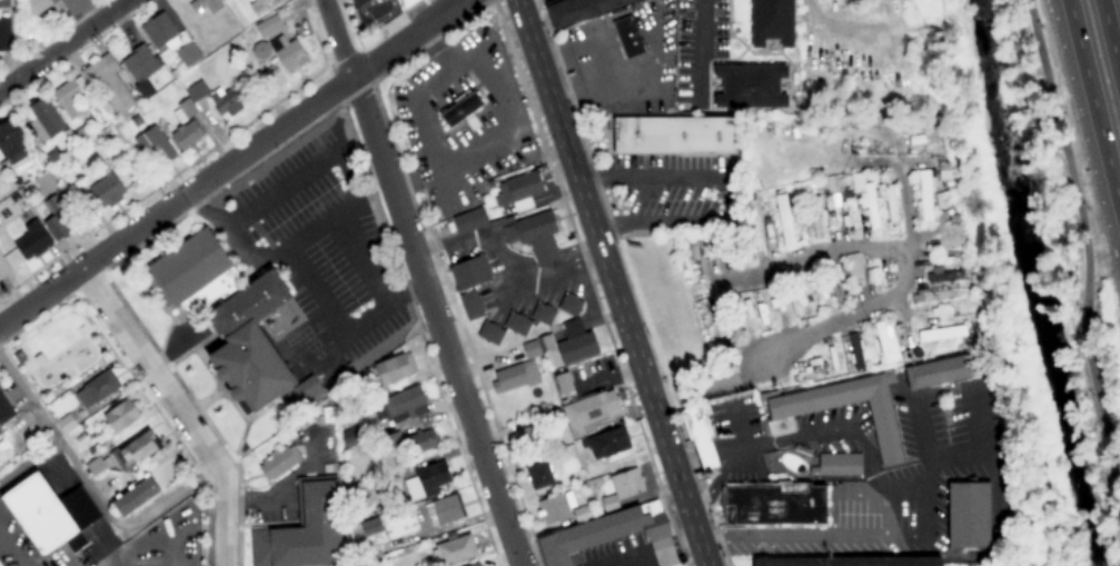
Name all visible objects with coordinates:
building: (3, 3)
building: (405, 3)
building: (205, 4)
building: (79, 6)
building: (258, 6)
building: (578, 10)
building: (34, 17)
building: (772, 21)
building: (268, 24)
street lamp: (1039, 26)
building: (161, 30)
building: (4, 33)
building: (627, 37)
road: (59, 41)
road: (1110, 41)
building: (188, 53)
building: (290, 53)
building: (142, 69)
building: (175, 72)
building: (108, 85)
building: (750, 86)
building: (196, 90)
building: (70, 96)
building: (226, 101)
road: (1093, 105)
building: (142, 109)
building: (185, 110)
building: (462, 111)
building: (44, 119)
building: (137, 120)
building: (186, 135)
building: (674, 135)
building: (11, 141)
building: (156, 146)
road: (230, 162)
street lamp: (340, 177)
building: (106, 188)
building: (518, 190)
building: (864, 196)
building: (925, 196)
building: (14, 198)
street lamp: (1084, 208)
building: (54, 218)
building: (850, 218)
building: (469, 219)
building: (500, 220)
building: (783, 220)
building: (535, 236)
building: (32, 240)
building: (948, 241)
road: (1086, 258)
building: (3, 267)
building: (853, 268)
building: (469, 272)
building: (194, 275)
building: (943, 277)
river: (1024, 281)
road: (417, 282)
road: (611, 282)
building: (248, 304)
building: (569, 304)
building: (470, 305)
street lamp: (359, 309)
street lamp: (1078, 309)
building: (516, 319)
building: (490, 332)
building: (941, 334)
building: (889, 340)
road: (78, 341)
building: (575, 342)
building: (537, 346)
park: (59, 347)
building: (19, 357)
building: (39, 359)
building: (250, 367)
building: (394, 369)
building: (943, 370)
building: (515, 376)
building: (563, 383)
building: (97, 387)
building: (306, 388)
street lamp: (1090, 396)
building: (402, 404)
road: (177, 408)
building: (4, 409)
building: (589, 411)
building: (329, 414)
building: (348, 415)
building: (120, 416)
building: (782, 418)
building: (66, 424)
building: (533, 430)
building: (0, 434)
building: (698, 435)
building: (350, 436)
building: (389, 440)
building: (423, 440)
building: (606, 441)
building: (135, 449)
building: (279, 461)
building: (836, 465)
building: (96, 466)
building: (542, 470)
building: (576, 475)
building: (427, 480)
building: (626, 483)
street lamp: (1108, 494)
building: (135, 495)
building: (608, 503)
building: (772, 504)
road: (161, 506)
building: (555, 507)
building: (445, 508)
building: (377, 509)
building: (583, 512)
building: (968, 515)
building: (41, 516)
building: (370, 526)
building: (304, 529)
building: (611, 535)
building: (454, 550)
building: (848, 562)
building: (474, 564)

